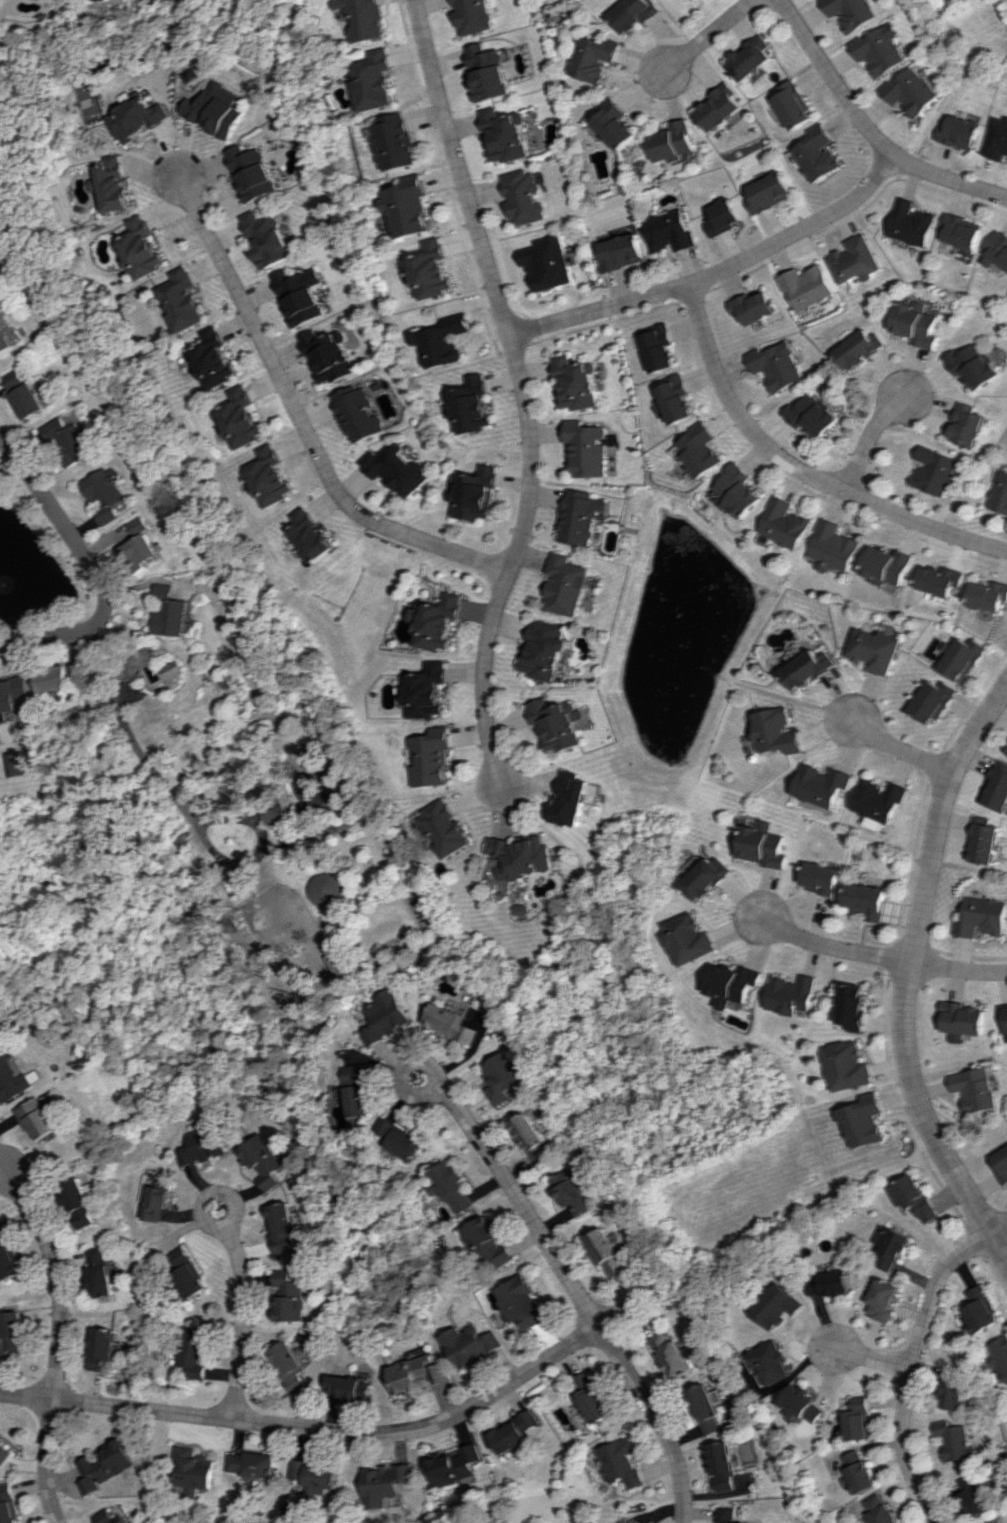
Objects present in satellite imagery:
building: (91, 0)
building: (853, 12)
building: (635, 13)
building: (475, 15)
building: (366, 18)
road: (708, 36)
building: (882, 49)
building: (593, 57)
building: (753, 58)
building: (491, 72)
building: (378, 79)
road: (835, 79)
building: (912, 91)
building: (795, 105)
building: (722, 107)
building: (221, 109)
building: (142, 118)
building: (616, 124)
building: (960, 132)
building: (509, 133)
building: (997, 139)
building: (401, 142)
building: (674, 142)
building: (819, 153)
building: (259, 172)
road: (949, 179)
building: (117, 184)
building: (769, 192)
building: (527, 197)
building: (413, 206)
building: (723, 216)
building: (912, 223)
building: (670, 230)
building: (962, 231)
building: (274, 238)
building: (143, 247)
building: (996, 250)
building: (620, 252)
building: (856, 259)
building: (549, 263)
building: (434, 269)
road: (717, 272)
building: (809, 286)
building: (305, 295)
building: (184, 299)
building: (756, 306)
building: (917, 323)
building: (5, 339)
building: (445, 341)
building: (662, 347)
building: (860, 349)
building: (332, 355)
building: (215, 358)
building: (779, 365)
building: (972, 366)
building: (577, 382)
road: (522, 388)
building: (26, 394)
building: (680, 399)
building: (473, 404)
building: (361, 413)
building: (815, 415)
building: (243, 417)
road: (303, 418)
building: (967, 425)
road: (870, 437)
building: (71, 439)
building: (703, 449)
road: (801, 468)
building: (398, 469)
building: (934, 470)
building: (272, 476)
building: (742, 491)
building: (477, 492)
building: (999, 493)
building: (109, 495)
building: (581, 516)
building: (789, 524)
building: (315, 534)
building: (141, 546)
building: (837, 547)
building: (887, 565)
road: (95, 571)
building: (938, 580)
building: (568, 584)
building: (986, 595)
building: (172, 612)
building: (440, 621)
building: (549, 649)
building: (874, 650)
building: (142, 658)
building: (959, 658)
building: (810, 668)
building: (175, 669)
building: (66, 677)
building: (431, 690)
building: (15, 696)
building: (930, 701)
road: (273, 709)
building: (561, 724)
building: (779, 731)
building: (320, 748)
road: (893, 749)
building: (1006, 750)
building: (438, 757)
building: (21, 764)
building: (822, 785)
building: (995, 787)
building: (317, 792)
building: (576, 799)
building: (876, 802)
road: (187, 806)
building: (451, 827)
building: (981, 841)
building: (762, 844)
building: (528, 855)
building: (709, 877)
building: (818, 878)
building: (334, 889)
building: (865, 900)
building: (980, 917)
building: (691, 939)
road: (829, 946)
building: (347, 964)
road: (958, 970)
road: (908, 972)
building: (735, 983)
building: (792, 994)
building: (854, 1006)
building: (391, 1016)
building: (960, 1020)
building: (1003, 1021)
building: (456, 1022)
building: (849, 1066)
building: (506, 1077)
building: (12, 1079)
building: (974, 1089)
building: (361, 1090)
building: (37, 1117)
building: (863, 1120)
building: (533, 1137)
building: (403, 1139)
building: (201, 1143)
building: (263, 1160)
building: (1001, 1163)
building: (454, 1186)
building: (570, 1193)
building: (156, 1197)
building: (913, 1197)
building: (78, 1202)
building: (282, 1227)
building: (491, 1244)
building: (890, 1246)
building: (608, 1250)
building: (7, 1256)
building: (99, 1271)
building: (186, 1271)
building: (829, 1282)
road: (575, 1287)
building: (291, 1297)
building: (883, 1299)
building: (524, 1303)
building: (777, 1305)
building: (980, 1309)
road: (241, 1310)
road: (619, 1312)
building: (10, 1333)
road: (56, 1336)
building: (476, 1345)
building: (100, 1347)
building: (190, 1351)
building: (671, 1355)
building: (999, 1356)
road: (873, 1358)
road: (916, 1360)
building: (771, 1362)
building: (291, 1365)
building: (421, 1371)
building: (359, 1388)
building: (953, 1394)
building: (592, 1397)
building: (802, 1403)
building: (704, 1408)
building: (859, 1419)
road: (313, 1426)
building: (954, 1440)
building: (4, 1453)
building: (853, 1457)
building: (620, 1462)
building: (252, 1464)
building: (103, 1465)
building: (456, 1465)
building: (720, 1466)
building: (193, 1469)
building: (316, 1473)
building: (860, 1477)
building: (387, 1483)
building: (977, 1495)
building: (7, 1504)
building: (881, 1509)
building: (724, 1515)
building: (106, 1517)
building: (1001, 1520)
building: (630, 1521)

